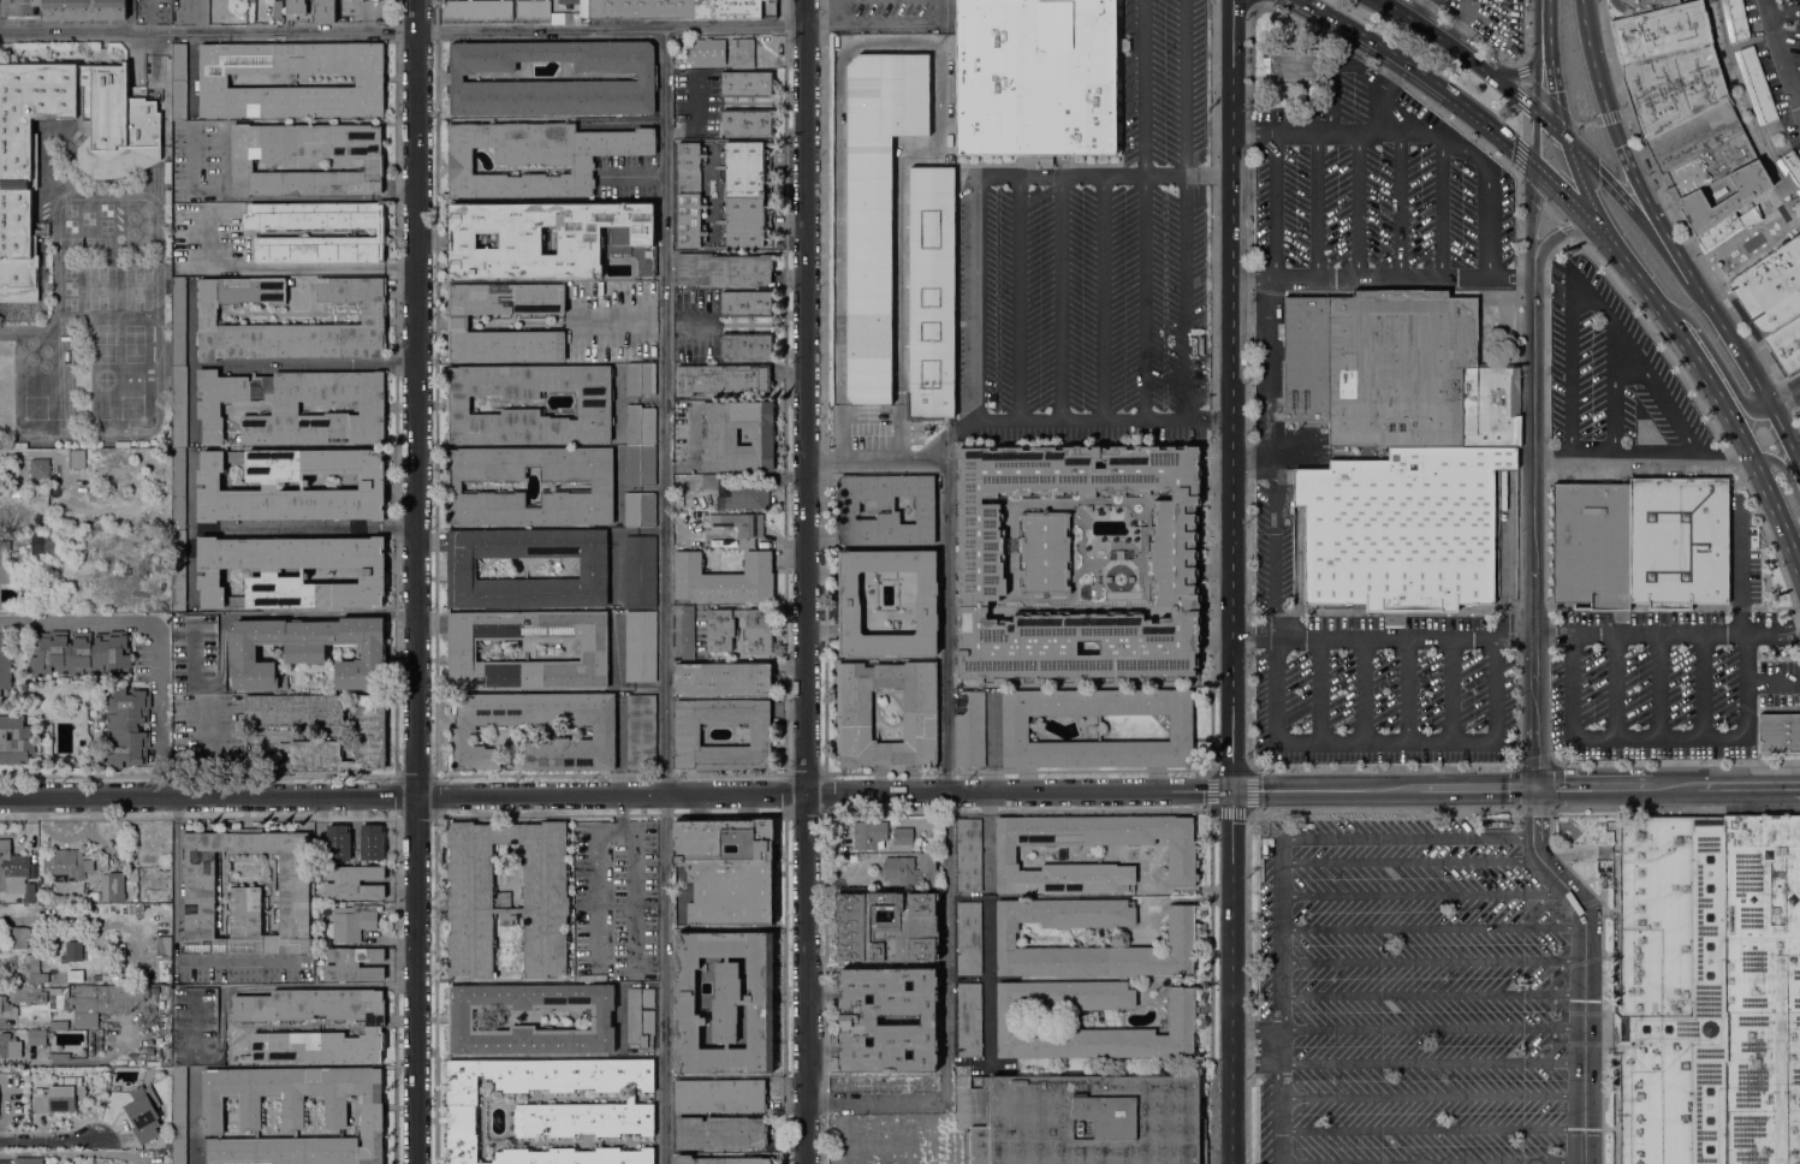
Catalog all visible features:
building: (358, 0)
building: (374, 0)
building: (569, 2)
road: (1252, 2)
road: (1254, 2)
building: (1639, 6)
road: (1257, 7)
road: (1463, 7)
building: (67, 8)
building: (277, 8)
building: (296, 8)
building: (672, 8)
road: (1420, 8)
road: (1769, 8)
building: (477, 10)
building: (531, 10)
building: (325, 11)
road: (1786, 14)
building: (233, 18)
building: (571, 18)
building: (1735, 19)
road: (890, 25)
road: (1457, 28)
road: (614, 29)
road: (210, 31)
building: (1661, 31)
road: (1501, 32)
road: (1439, 37)
road: (1372, 44)
building: (743, 52)
road: (1496, 52)
road: (1537, 54)
building: (713, 61)
road: (1786, 61)
road: (1519, 63)
building: (1293, 67)
road: (1552, 71)
road: (1520, 72)
road: (1332, 76)
building: (646, 77)
building: (1036, 77)
building: (213, 79)
building: (179, 81)
traffic signals: (1537, 82)
building: (747, 83)
road: (1521, 83)
road: (1526, 83)
road: (1537, 84)
building: (1756, 84)
road: (1143, 87)
road: (1183, 87)
building: (1673, 88)
road: (1374, 91)
traffic signals: (1556, 91)
road: (1513, 95)
road: (1521, 100)
road: (1551, 102)
road: (1626, 113)
road: (1609, 117)
building: (747, 121)
road: (1584, 124)
road: (1523, 125)
road: (1551, 126)
road: (1491, 127)
road: (1332, 131)
road: (1535, 138)
traffic signals: (1623, 144)
traffic signals: (1516, 148)
building: (1700, 150)
road: (1520, 153)
building: (536, 156)
road: (1630, 161)
building: (242, 165)
building: (1792, 165)
road: (1517, 170)
road: (1208, 173)
road: (1599, 173)
traffic signals: (1599, 173)
road: (1081, 176)
building: (18, 184)
road: (1520, 184)
road: (1486, 188)
road: (1587, 191)
road: (1532, 192)
building: (690, 194)
building: (745, 194)
road: (322, 198)
road: (1273, 201)
road: (1669, 201)
road: (1315, 202)
road: (1356, 202)
road: (1398, 202)
road: (1432, 202)
road: (1574, 202)
building: (1722, 203)
building: (875, 206)
road: (1552, 213)
road: (1529, 221)
building: (368, 232)
road: (1570, 232)
road: (1561, 233)
building: (541, 237)
road: (1579, 242)
road: (1668, 261)
road: (281, 268)
building: (646, 268)
building: (723, 269)
railway: (1659, 271)
road: (1636, 272)
road: (1384, 273)
road: (1546, 290)
building: (1768, 291)
building: (931, 293)
road: (1183, 296)
road: (1100, 297)
road: (1143, 297)
road: (1059, 299)
road: (1018, 301)
road: (1592, 302)
building: (747, 303)
road: (981, 303)
building: (373, 319)
building: (179, 322)
building: (457, 322)
road: (618, 322)
building: (745, 345)
building: (1786, 345)
road: (1717, 358)
road: (304, 364)
building: (1378, 366)
road: (1572, 367)
building: (640, 379)
building: (721, 379)
road: (1760, 387)
road: (1782, 388)
road: (1612, 394)
road: (1658, 394)
road: (1234, 397)
road: (191, 403)
building: (594, 404)
road: (1786, 404)
building: (1491, 405)
building: (178, 406)
building: (295, 406)
road: (666, 411)
building: (641, 424)
road: (1737, 429)
building: (718, 435)
road: (878, 455)
road: (1645, 461)
building: (78, 463)
building: (640, 464)
building: (40, 469)
building: (1, 470)
road: (1786, 470)
road: (945, 473)
building: (709, 481)
building: (370, 485)
building: (601, 486)
building: (178, 489)
building: (16, 493)
building: (745, 494)
building: (848, 507)
building: (640, 509)
building: (737, 523)
road: (268, 527)
building: (1402, 528)
road: (1534, 535)
building: (712, 539)
building: (44, 542)
building: (1676, 542)
building: (1591, 545)
building: (1171, 563)
building: (5, 564)
building: (461, 568)
building: (178, 569)
building: (640, 570)
building: (372, 571)
building: (724, 578)
building: (59, 581)
road: (417, 581)
road: (808, 582)
building: (849, 600)
road: (1740, 607)
road: (1772, 607)
road: (1798, 616)
building: (759, 629)
road: (1668, 630)
building: (687, 633)
road: (1384, 634)
road: (156, 637)
building: (640, 645)
building: (462, 649)
road: (1249, 649)
building: (308, 651)
building: (79, 653)
building: (5, 664)
building: (723, 678)
road: (1496, 682)
road: (1272, 683)
road: (1612, 683)
road: (1658, 683)
road: (1701, 683)
road: (1319, 687)
road: (1362, 687)
road: (1408, 687)
road: (1449, 687)
building: (293, 709)
building: (854, 714)
building: (369, 715)
building: (127, 725)
building: (969, 728)
building: (1015, 728)
building: (1780, 732)
building: (604, 734)
building: (640, 734)
building: (687, 736)
road: (1657, 736)
building: (14, 740)
road: (1384, 741)
road: (1675, 762)
road: (1516, 792)
road: (616, 797)
building: (1707, 818)
building: (868, 833)
building: (903, 836)
road: (1407, 837)
building: (1609, 837)
building: (370, 841)
building: (354, 848)
building: (969, 855)
building: (1181, 856)
building: (854, 857)
road: (1409, 860)
building: (119, 861)
building: (66, 865)
road: (599, 871)
building: (724, 872)
building: (910, 872)
building: (133, 873)
building: (16, 874)
building: (1604, 879)
building: (354, 881)
building: (109, 887)
road: (635, 891)
building: (246, 893)
road: (1425, 893)
building: (507, 897)
road: (966, 897)
building: (125, 909)
building: (347, 924)
building: (886, 926)
road: (1431, 927)
road: (1278, 934)
building: (14, 937)
building: (968, 938)
building: (1182, 940)
road: (179, 942)
building: (78, 950)
building: (164, 960)
road: (1431, 962)
building: (354, 963)
building: (32, 968)
road: (1585, 969)
building: (96, 976)
building: (105, 976)
building: (58, 979)
road: (966, 979)
road: (1232, 979)
road: (665, 980)
building: (4, 990)
building: (154, 990)
building: (1709, 990)
building: (28, 993)
building: (106, 996)
parking lot: (1409, 996)
road: (1431, 996)
building: (58, 998)
building: (725, 1003)
building: (6, 1008)
road: (946, 1015)
building: (1181, 1016)
building: (640, 1017)
road: (985, 1017)
building: (461, 1019)
building: (968, 1019)
building: (85, 1020)
building: (887, 1020)
building: (59, 1025)
building: (375, 1026)
building: (195, 1027)
building: (1615, 1028)
road: (1431, 1029)
road: (1255, 1031)
building: (99, 1032)
building: (36, 1037)
building: (8, 1045)
road: (1278, 1047)
building: (58, 1056)
road: (1431, 1063)
road: (1255, 1065)
building: (25, 1071)
road: (1431, 1094)
building: (59, 1095)
building: (719, 1095)
building: (552, 1107)
building: (143, 1112)
building: (293, 1113)
building: (179, 1115)
road: (1278, 1115)
building: (1088, 1121)
road: (1431, 1130)
building: (720, 1133)
building: (167, 1144)
road: (48, 1147)
building: (720, 1159)
building: (28, 1160)
road: (1431, 1163)

